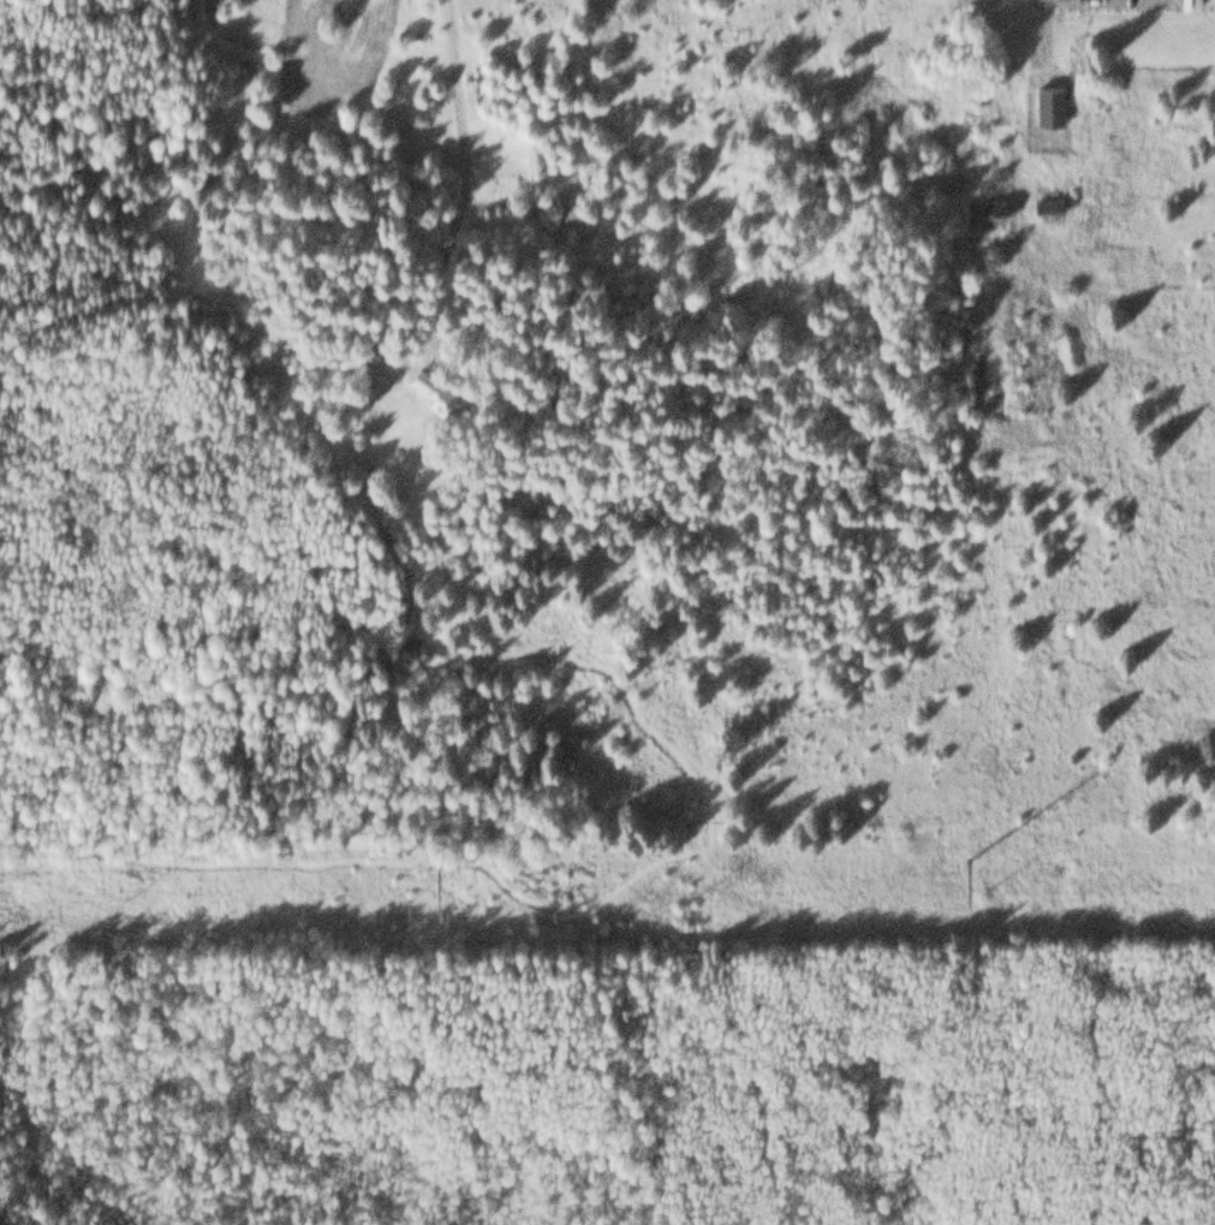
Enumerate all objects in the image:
building: (1048, 101)
road: (460, 196)
building: (1046, 202)
building: (984, 206)
building: (429, 381)
power tower: (954, 846)
power tower: (424, 855)

